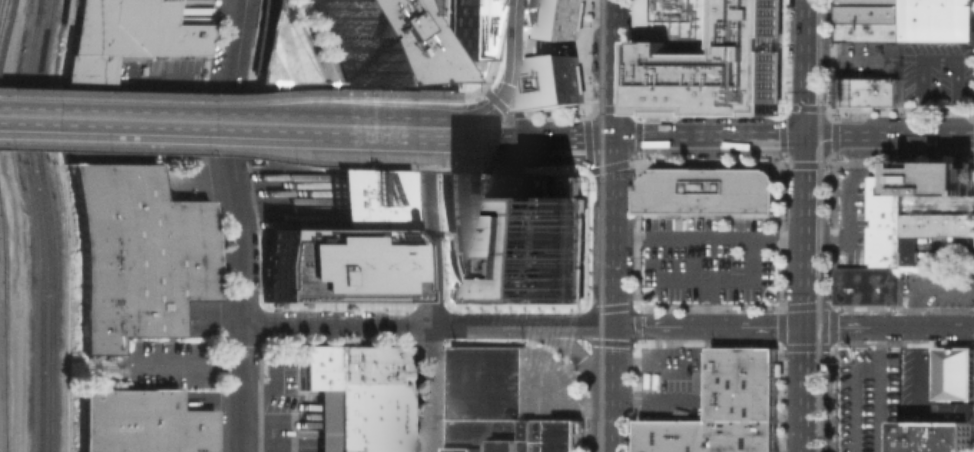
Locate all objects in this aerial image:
railway: (42, 5)
railway: (42, 5)
parking lot: (192, 13)
railway: (593, 19)
building: (675, 20)
building: (906, 20)
building: (464, 26)
building: (129, 37)
building: (335, 41)
road: (494, 45)
road: (243, 53)
road: (514, 54)
building: (554, 54)
road: (587, 55)
parking lot: (861, 59)
building: (896, 59)
road: (938, 59)
building: (718, 60)
road: (613, 67)
road: (809, 68)
road: (430, 69)
parking lot: (166, 72)
parking lot: (940, 76)
building: (870, 91)
road: (471, 92)
road: (230, 96)
road: (517, 96)
traffic signals: (502, 101)
road: (501, 107)
road: (599, 109)
road: (557, 113)
road: (480, 114)
road: (16, 117)
road: (170, 122)
road: (435, 124)
road: (587, 124)
park: (302, 126)
road: (518, 126)
road: (359, 127)
road: (435, 134)
traffic signals: (613, 136)
road: (793, 136)
road: (565, 137)
traffic signals: (808, 137)
road: (489, 139)
road: (835, 151)
road: (230, 152)
road: (589, 154)
road: (818, 166)
road: (526, 169)
road: (602, 169)
railway: (828, 169)
parking lot: (194, 180)
building: (937, 180)
road: (825, 188)
building: (709, 190)
parking lot: (292, 193)
building: (956, 201)
road: (849, 209)
parking lot: (851, 218)
building: (884, 222)
railway: (51, 225)
railway: (601, 225)
railway: (819, 225)
railway: (64, 226)
railway: (41, 231)
road: (430, 231)
road: (613, 231)
road: (833, 232)
building: (931, 232)
building: (516, 238)
road: (710, 239)
building: (344, 247)
building: (136, 253)
parking lot: (946, 253)
road: (953, 253)
parking lot: (708, 257)
road: (239, 279)
road: (728, 282)
building: (869, 286)
road: (922, 286)
parking lot: (938, 286)
road: (808, 294)
road: (706, 304)
road: (820, 305)
road: (835, 315)
road: (334, 323)
road: (520, 325)
road: (662, 326)
traffic signals: (808, 327)
road: (843, 327)
parking lot: (176, 360)
road: (581, 360)
road: (181, 363)
road: (917, 371)
building: (956, 372)
road: (612, 373)
parking lot: (919, 383)
building: (486, 384)
parking lot: (675, 384)
road: (429, 388)
parking lot: (548, 389)
road: (877, 389)
road: (547, 395)
building: (358, 396)
road: (854, 397)
parking lot: (866, 398)
parking lot: (287, 403)
road: (658, 403)
building: (727, 408)
building: (955, 411)
building: (142, 425)
building: (483, 432)
building: (893, 435)
road: (611, 436)
building: (937, 436)
building: (539, 438)

